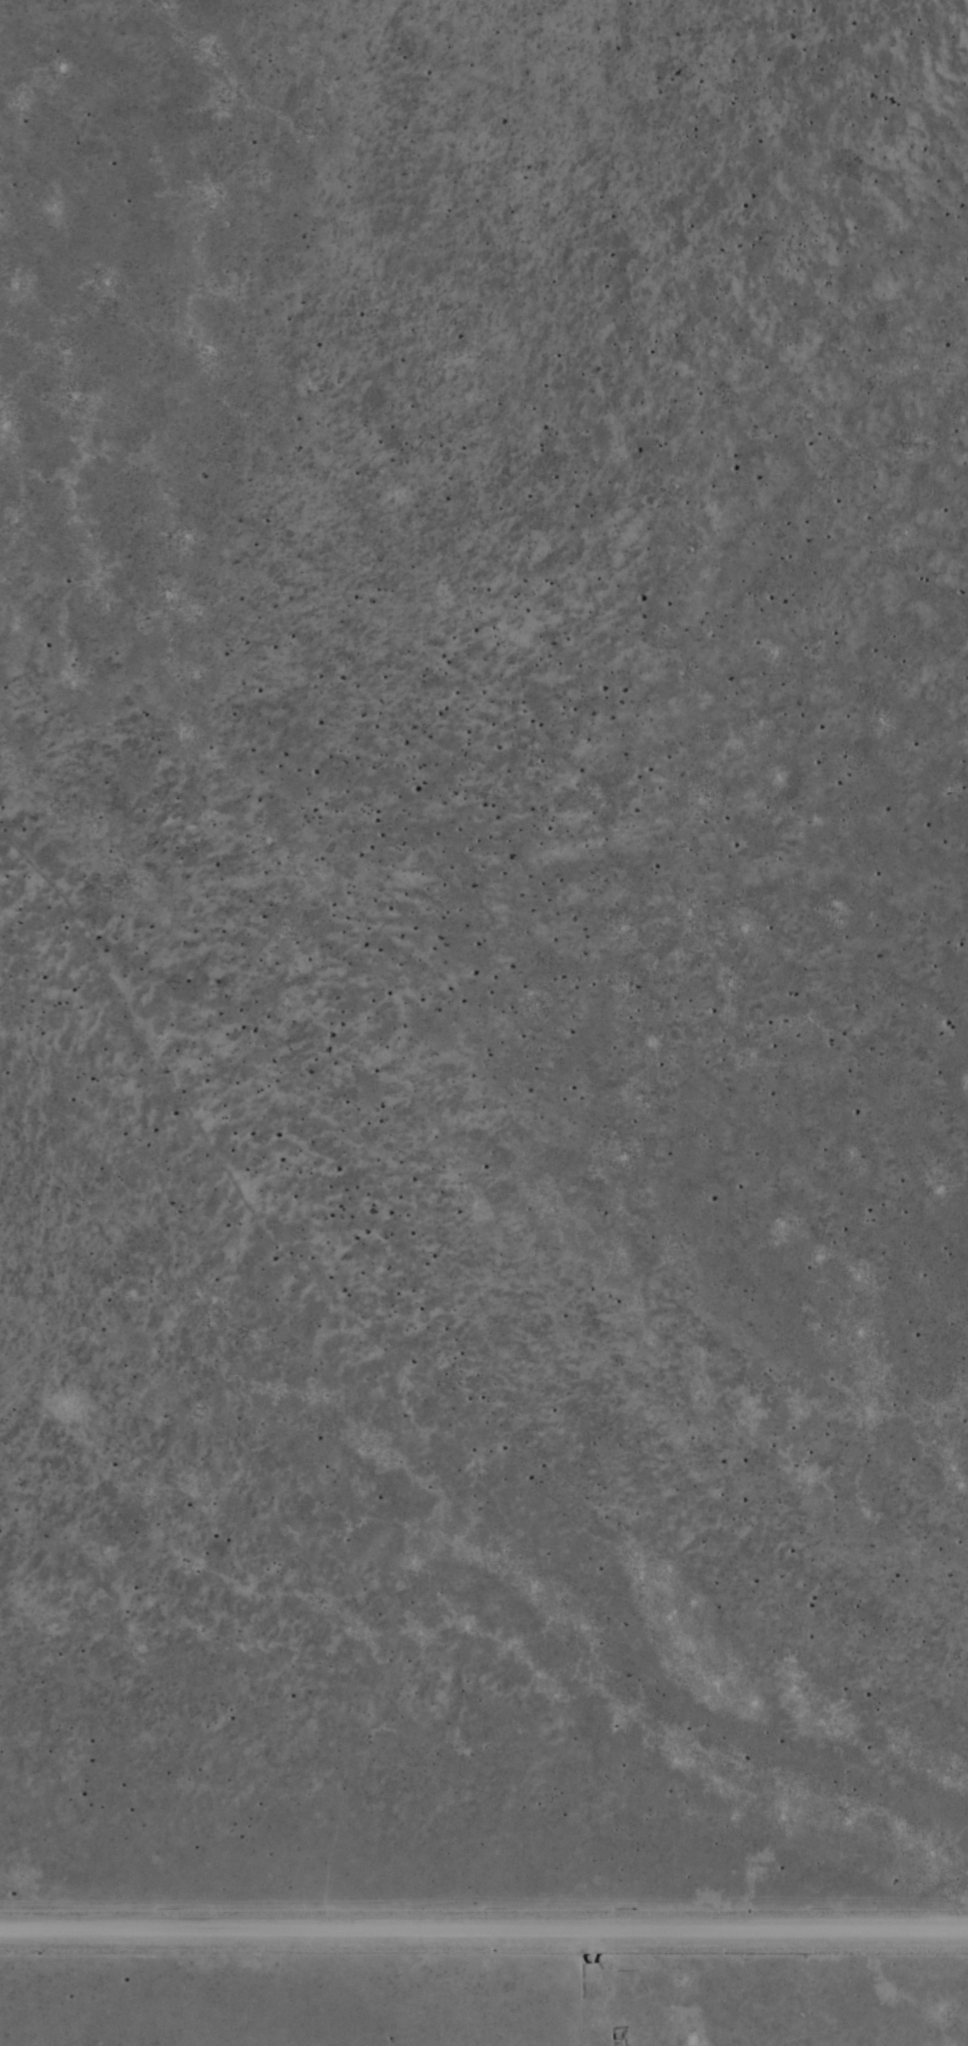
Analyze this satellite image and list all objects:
road: (484, 1942)

